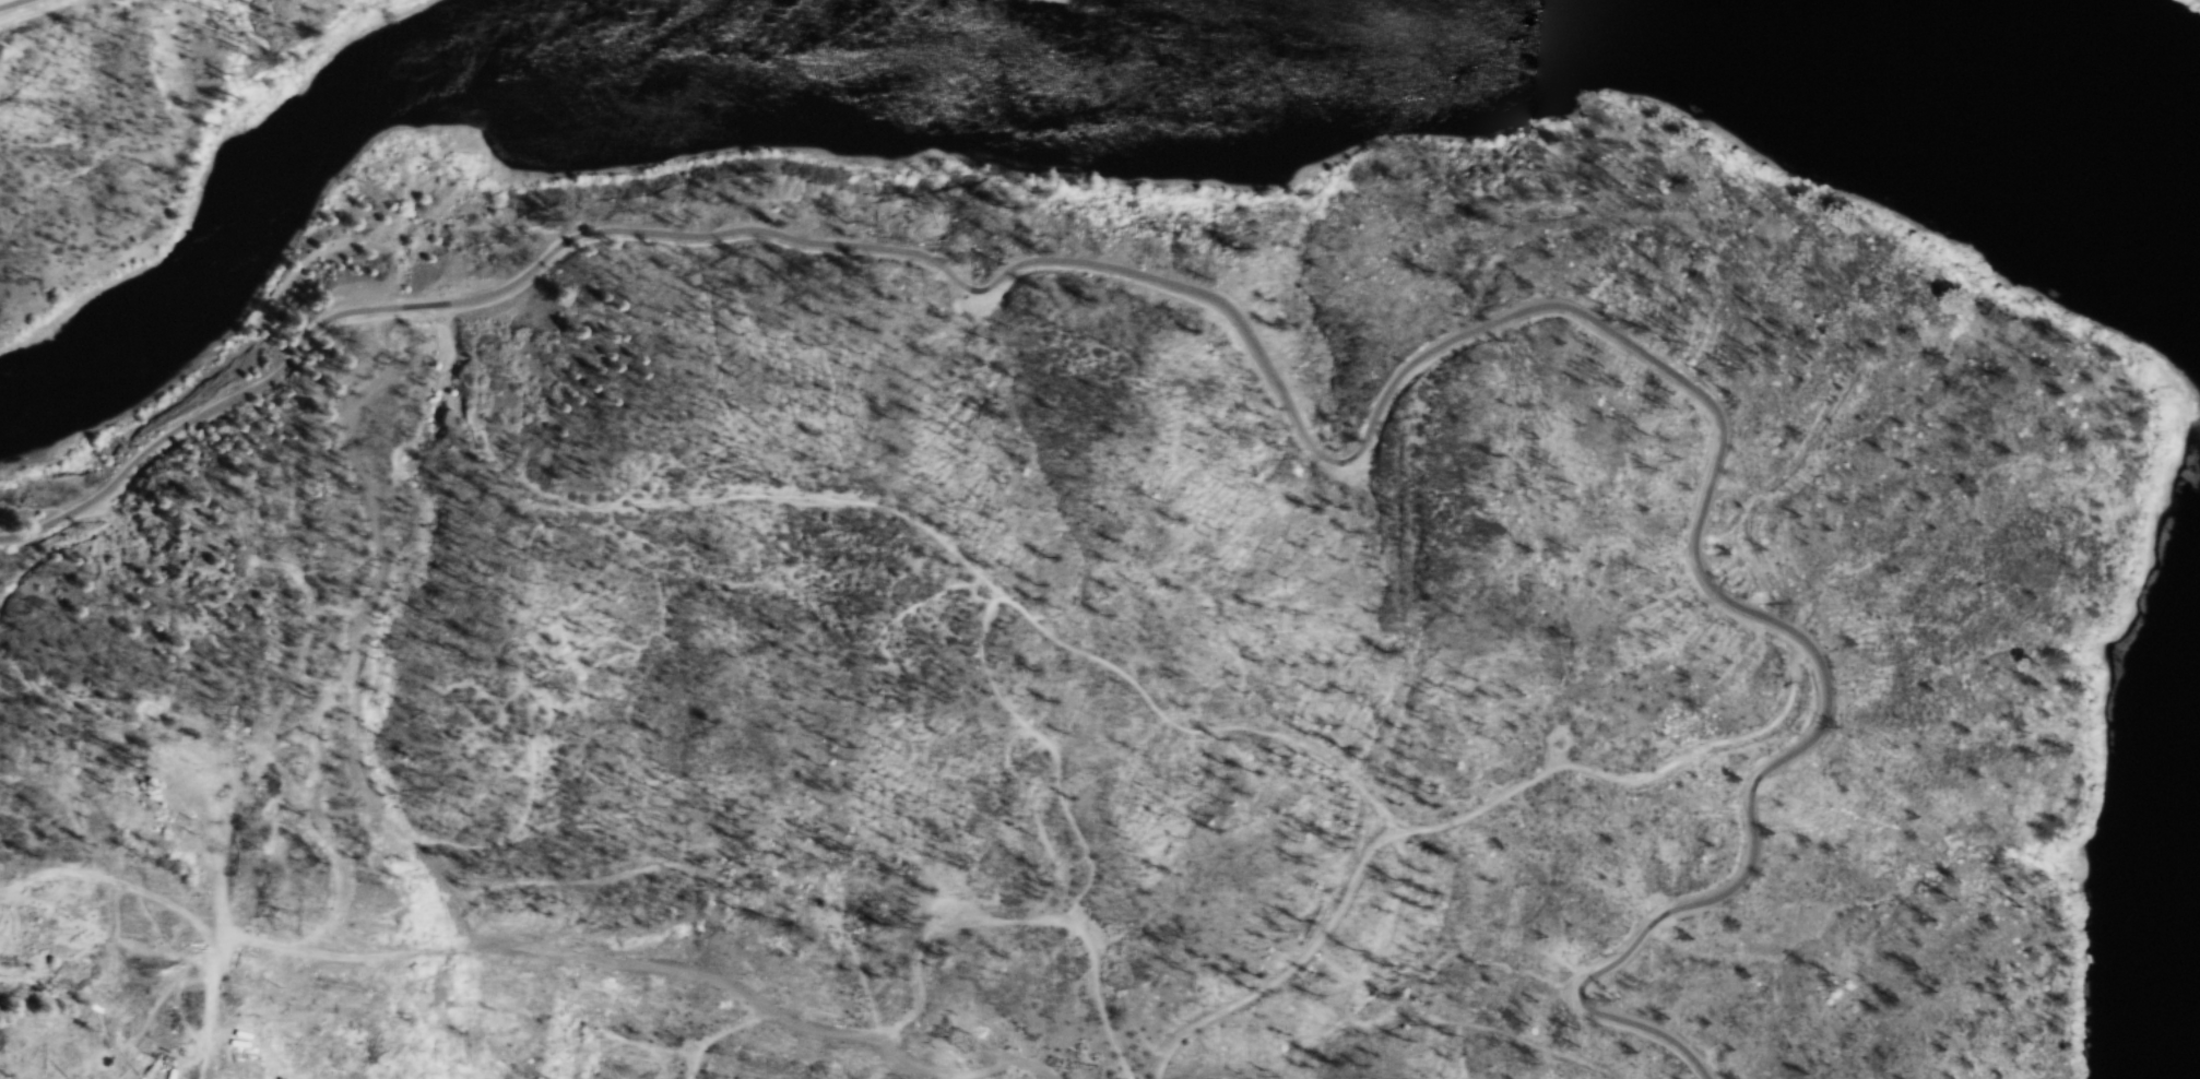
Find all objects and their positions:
road: (8, 2)
road: (471, 297)
road: (1610, 328)
road: (322, 701)
road: (1178, 725)
road: (1051, 748)
road: (285, 774)
road: (1633, 778)
road: (239, 785)
road: (300, 801)
road: (378, 808)
road: (117, 879)
road: (1014, 921)
power tower: (286, 923)
road: (109, 935)
road: (852, 957)
road: (651, 965)
road: (1288, 969)
road: (1588, 997)
road: (210, 1006)
road: (1387, 1018)
road: (719, 1032)
power tower: (960, 1041)

